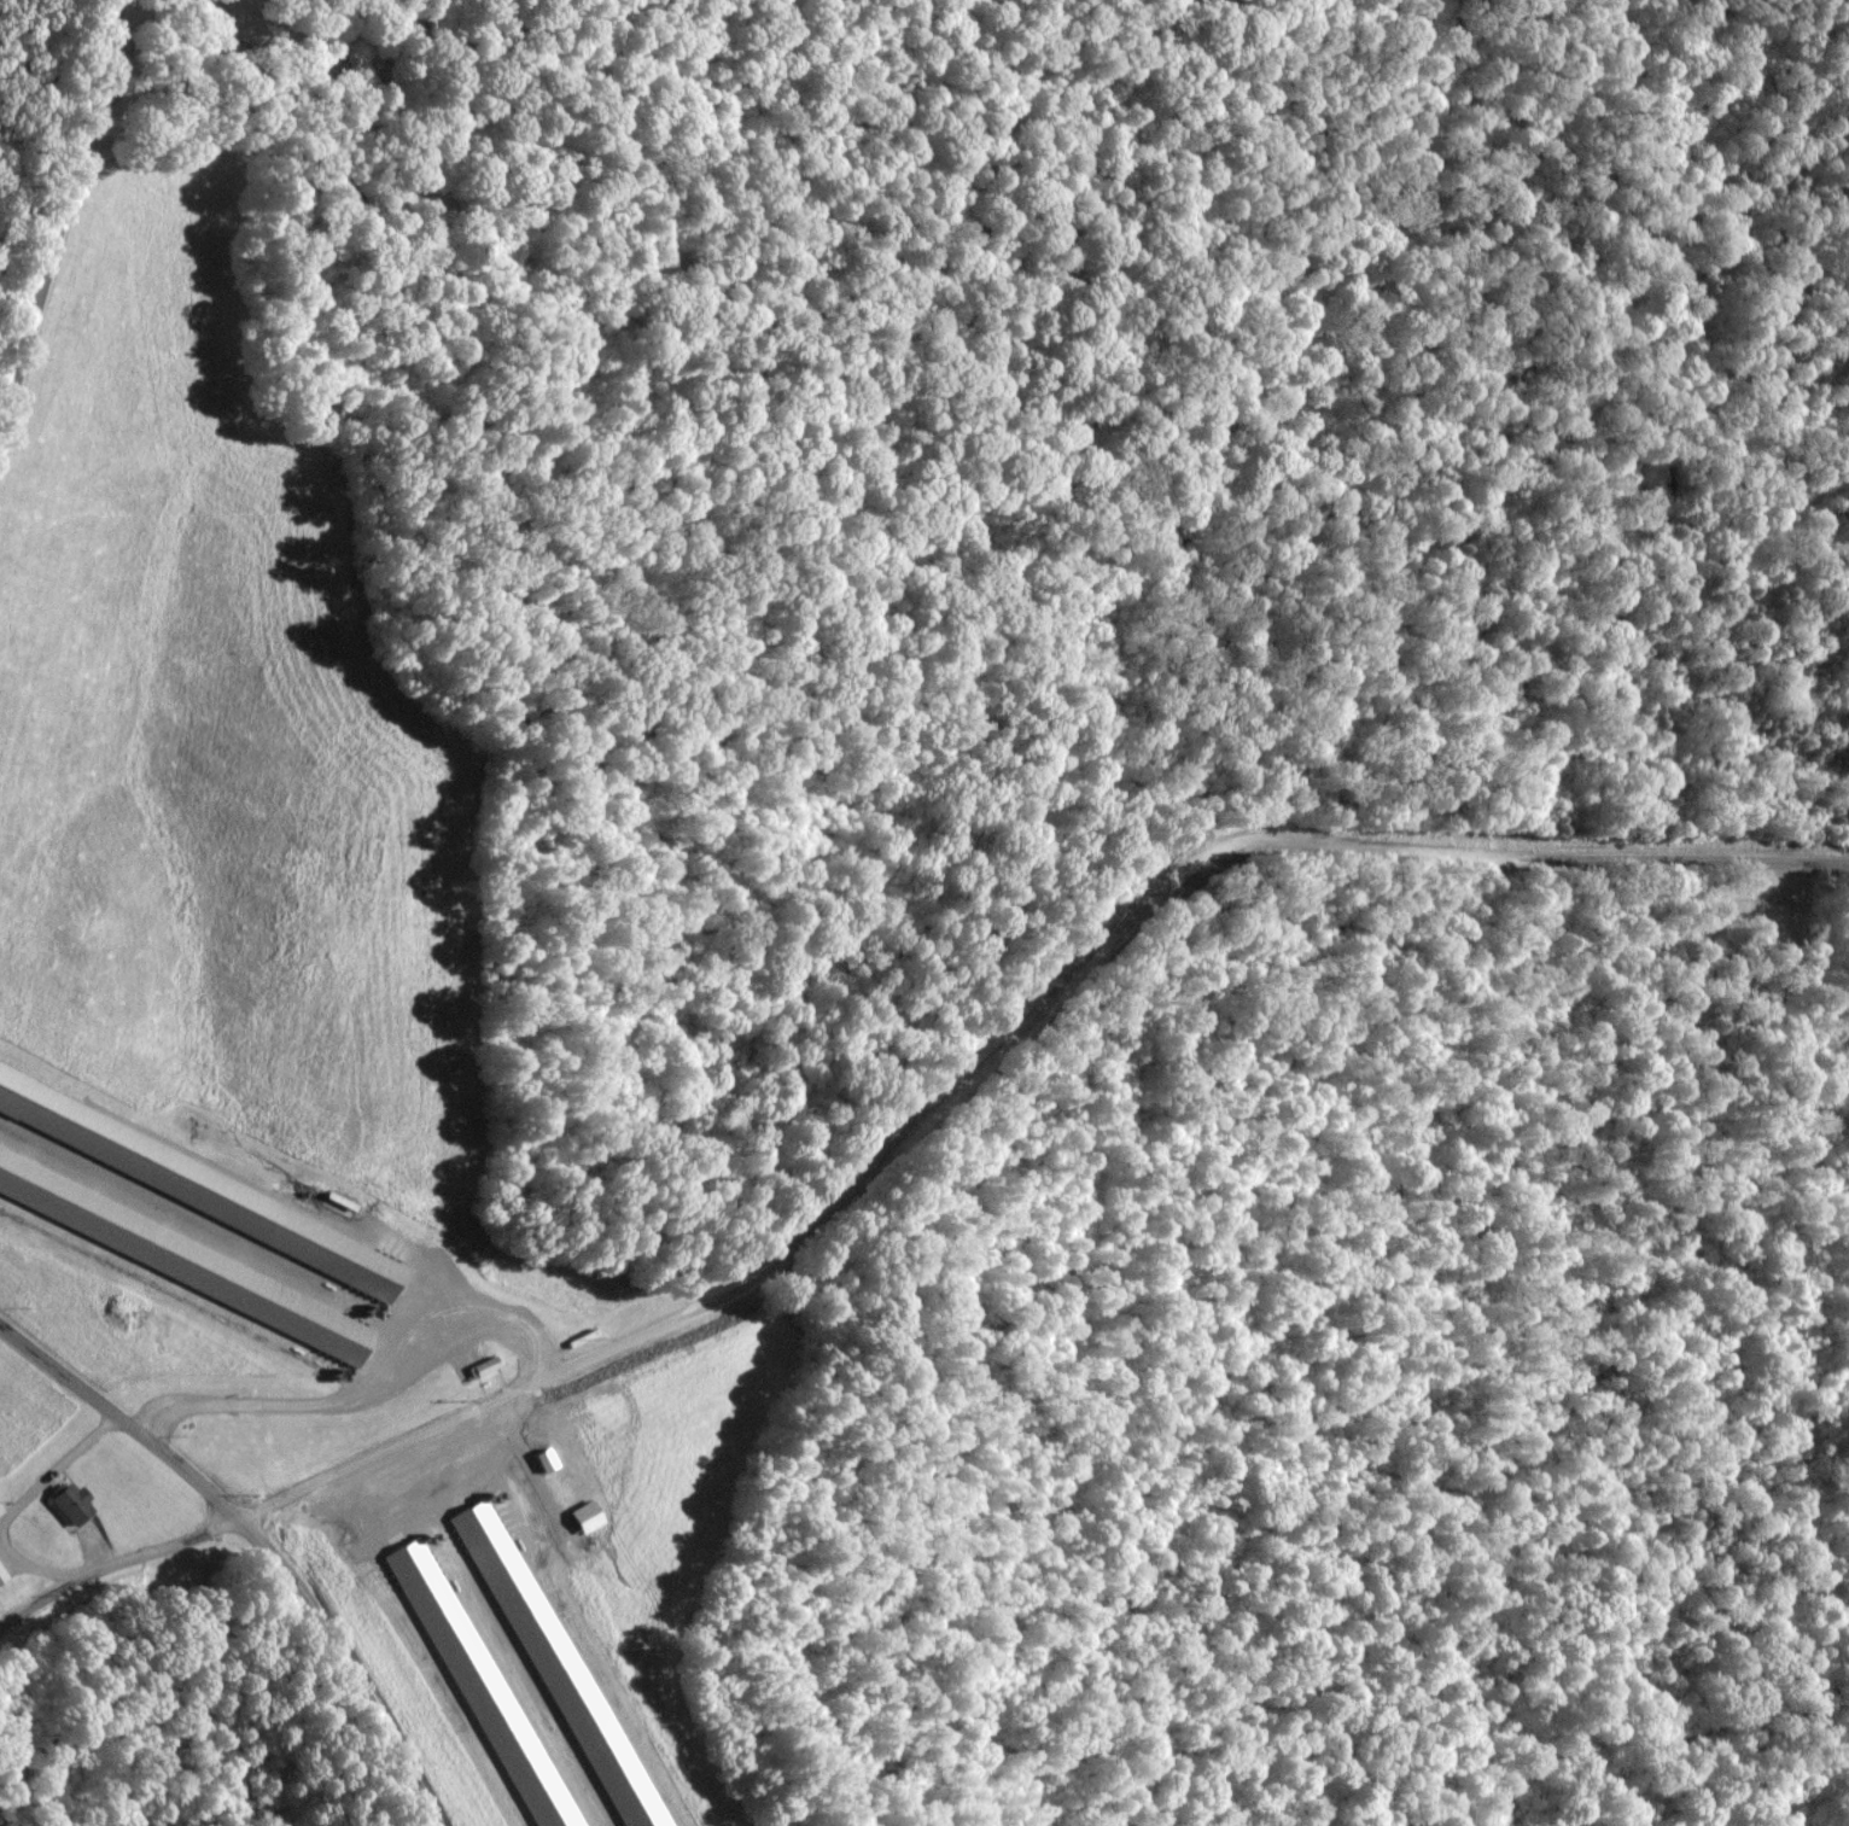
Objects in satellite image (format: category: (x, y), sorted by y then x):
road: (59, 215)
road: (1523, 857)
road: (776, 1264)
building: (519, 1332)
building: (69, 1497)
road: (261, 1538)
road: (116, 1563)
building: (2, 1575)

